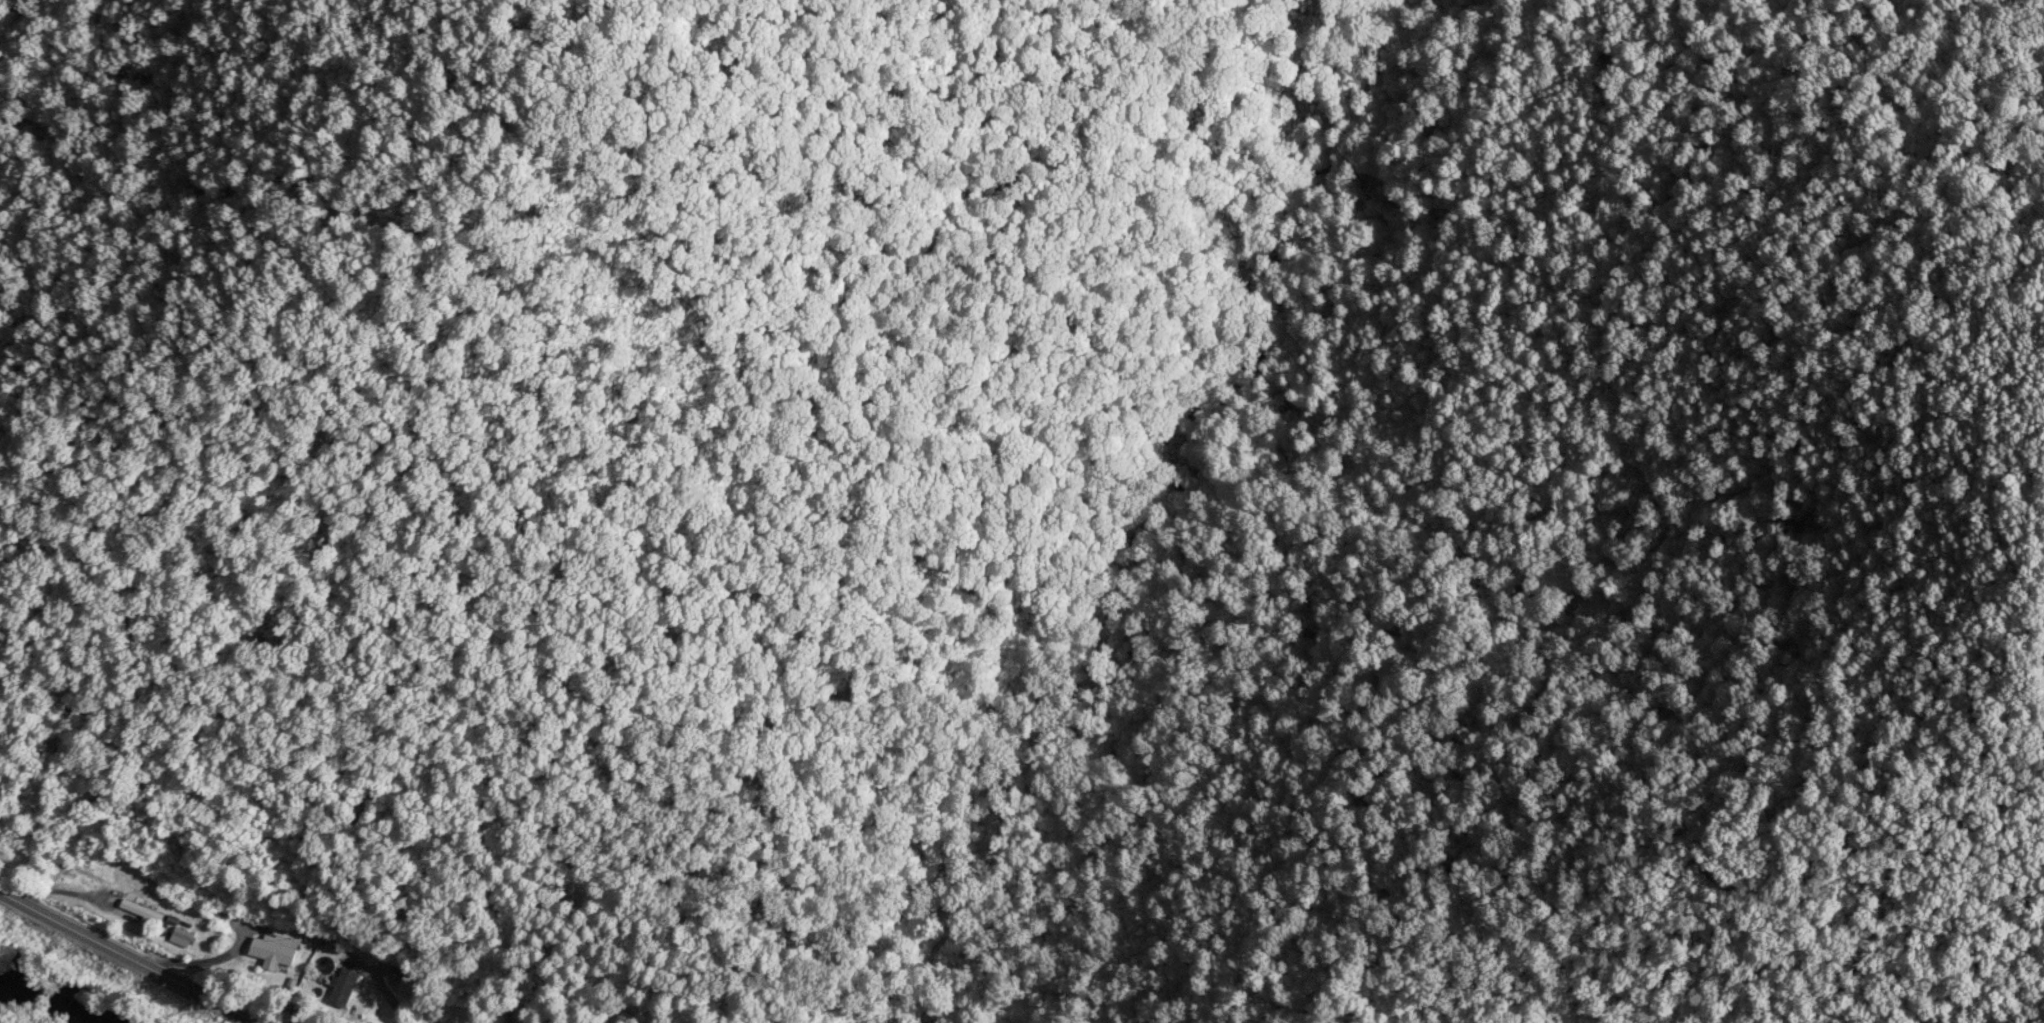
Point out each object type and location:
building: (276, 951)
road: (127, 958)
building: (412, 985)
building: (350, 988)
river: (55, 996)

